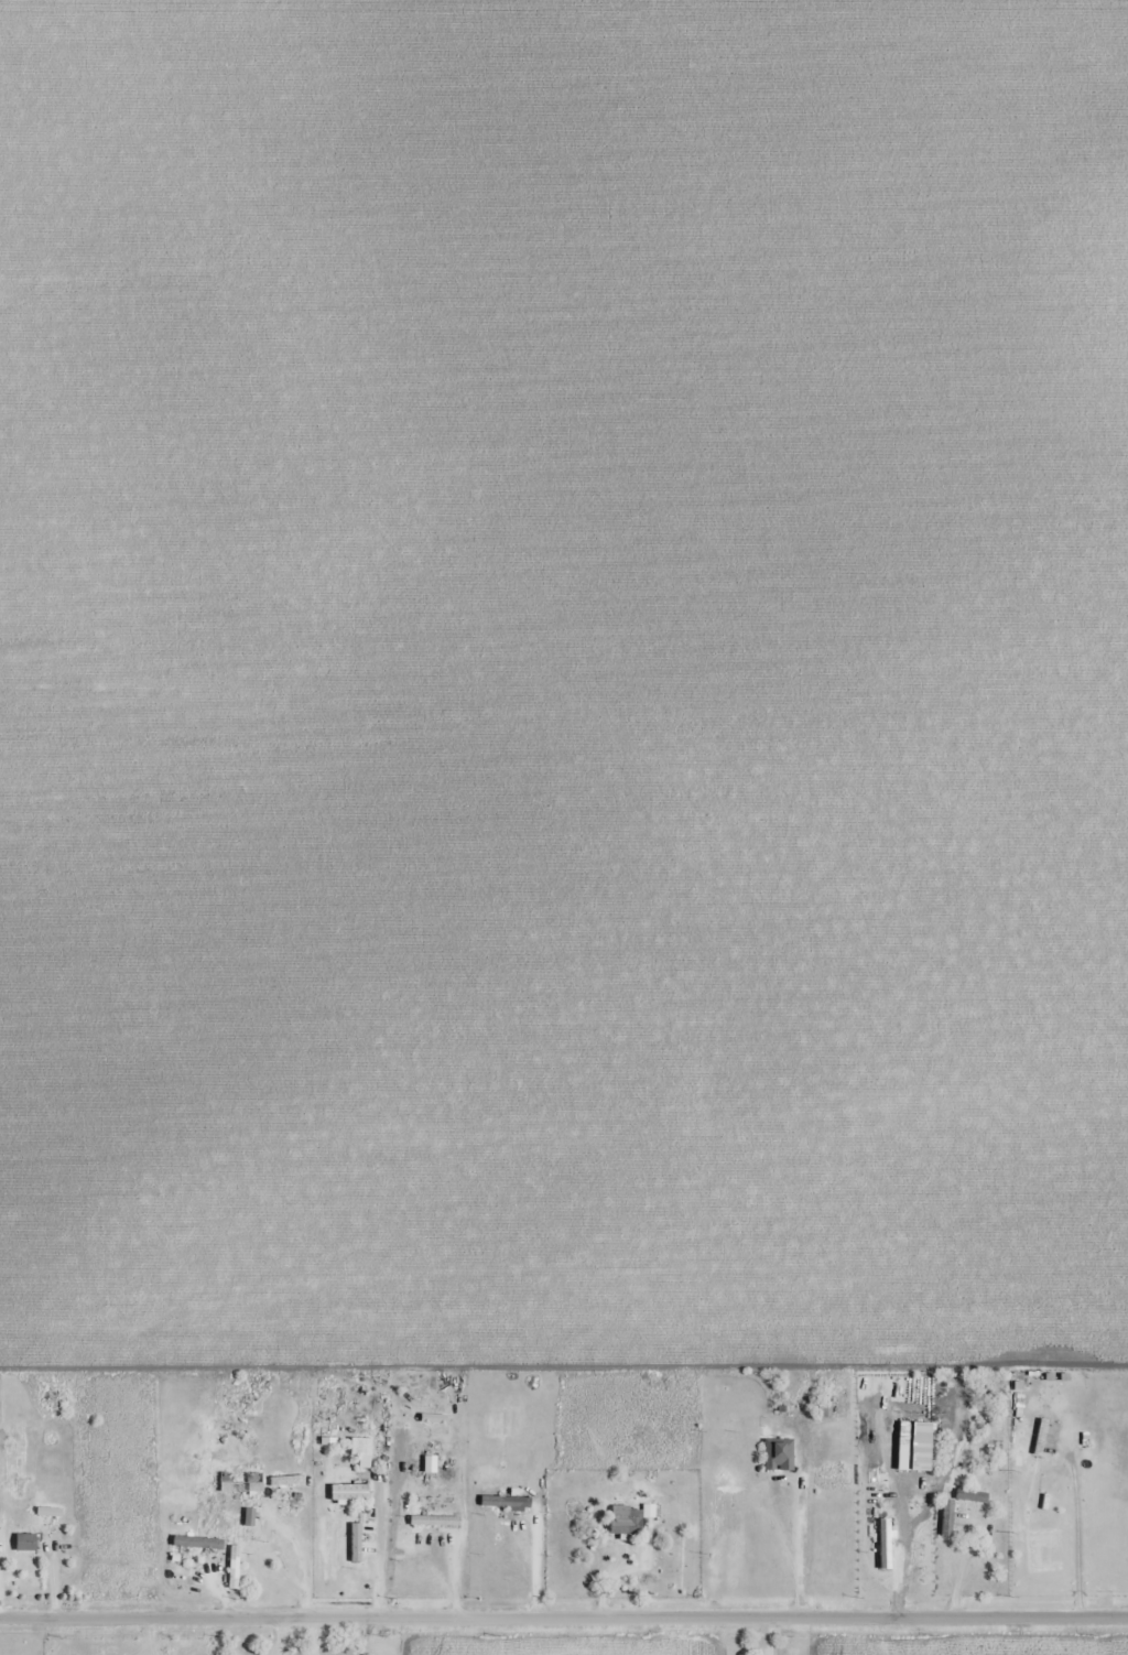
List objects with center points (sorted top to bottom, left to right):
building: (1040, 1437)
building: (361, 1451)
building: (778, 1454)
building: (977, 1467)
building: (835, 1479)
building: (236, 1484)
building: (348, 1492)
building: (972, 1495)
building: (505, 1502)
building: (946, 1517)
building: (622, 1519)
building: (434, 1521)
building: (24, 1542)
road: (292, 1555)
road: (535, 1564)
road: (563, 1616)

